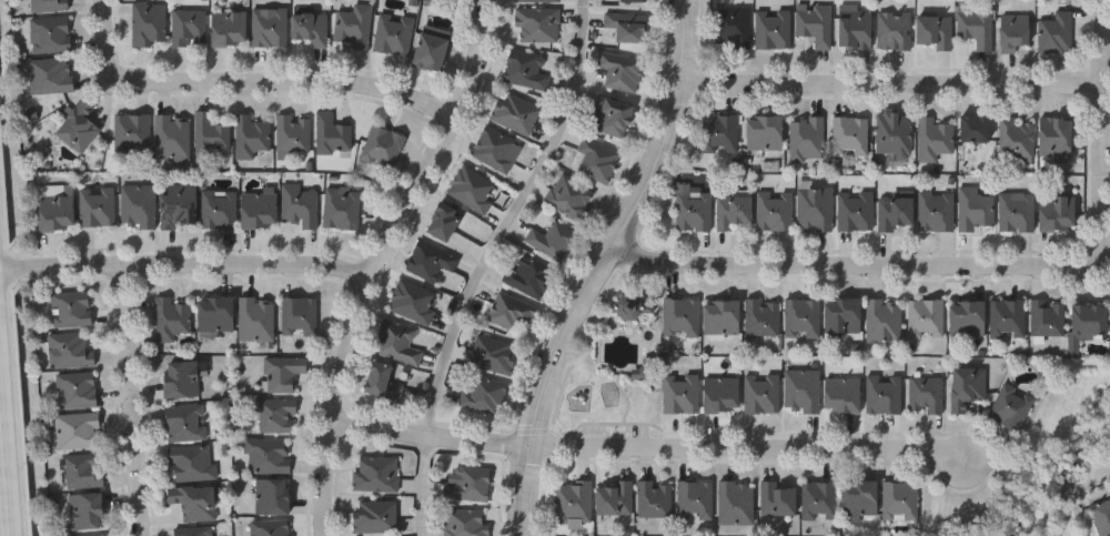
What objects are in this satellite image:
building: (537, 1)
building: (636, 1)
building: (50, 6)
building: (816, 23)
building: (150, 24)
building: (539, 24)
building: (977, 26)
building: (356, 27)
building: (628, 27)
building: (190, 28)
building: (229, 28)
building: (271, 28)
building: (311, 28)
building: (734, 28)
building: (855, 28)
building: (774, 30)
building: (896, 31)
building: (936, 31)
building: (1015, 32)
building: (395, 33)
building: (1058, 33)
building: (52, 36)
road: (112, 39)
building: (431, 52)
building: (527, 70)
building: (623, 71)
building: (51, 77)
road: (290, 93)
road: (1106, 93)
road: (895, 97)
building: (516, 113)
building: (613, 117)
building: (79, 128)
building: (975, 130)
building: (765, 133)
building: (133, 134)
building: (295, 134)
building: (722, 134)
building: (896, 134)
building: (212, 135)
building: (333, 135)
building: (254, 136)
building: (851, 136)
building: (1057, 136)
building: (174, 138)
building: (808, 139)
building: (936, 139)
building: (1018, 140)
building: (384, 148)
building: (497, 150)
building: (598, 161)
building: (474, 189)
building: (572, 198)
building: (302, 205)
building: (140, 206)
building: (179, 206)
building: (98, 208)
building: (260, 209)
building: (343, 209)
building: (57, 210)
building: (220, 210)
building: (694, 210)
building: (735, 210)
building: (816, 210)
building: (977, 210)
building: (775, 211)
building: (857, 211)
building: (938, 212)
building: (1018, 212)
building: (897, 213)
building: (1057, 213)
building: (444, 222)
road: (509, 222)
building: (554, 240)
road: (392, 261)
building: (432, 261)
road: (610, 269)
road: (190, 274)
building: (532, 277)
road: (861, 279)
building: (414, 302)
road: (228, 305)
building: (72, 309)
building: (512, 311)
building: (215, 315)
building: (844, 316)
building: (301, 317)
building: (683, 317)
building: (723, 317)
building: (764, 317)
building: (173, 318)
building: (804, 318)
building: (926, 318)
building: (1048, 318)
building: (258, 320)
building: (967, 320)
building: (1008, 320)
building: (885, 322)
building: (1089, 322)
building: (400, 342)
building: (72, 351)
building: (495, 355)
building: (646, 372)
building: (283, 374)
building: (182, 380)
building: (382, 383)
building: (967, 388)
building: (78, 391)
building: (804, 392)
building: (682, 394)
building: (763, 394)
building: (486, 395)
building: (722, 395)
building: (884, 395)
building: (842, 396)
building: (927, 396)
road: (134, 405)
road: (9, 406)
building: (1012, 408)
building: (277, 416)
building: (186, 423)
building: (79, 431)
building: (269, 455)
road: (654, 456)
building: (193, 463)
building: (85, 471)
building: (377, 474)
building: (470, 484)
road: (421, 488)
building: (273, 496)
building: (778, 497)
building: (615, 498)
building: (655, 498)
building: (695, 499)
building: (819, 499)
building: (858, 499)
building: (900, 500)
building: (195, 502)
building: (574, 502)
building: (737, 502)
building: (88, 510)
building: (1101, 515)
building: (376, 516)
building: (466, 523)
building: (272, 528)
building: (194, 530)
building: (95, 535)

